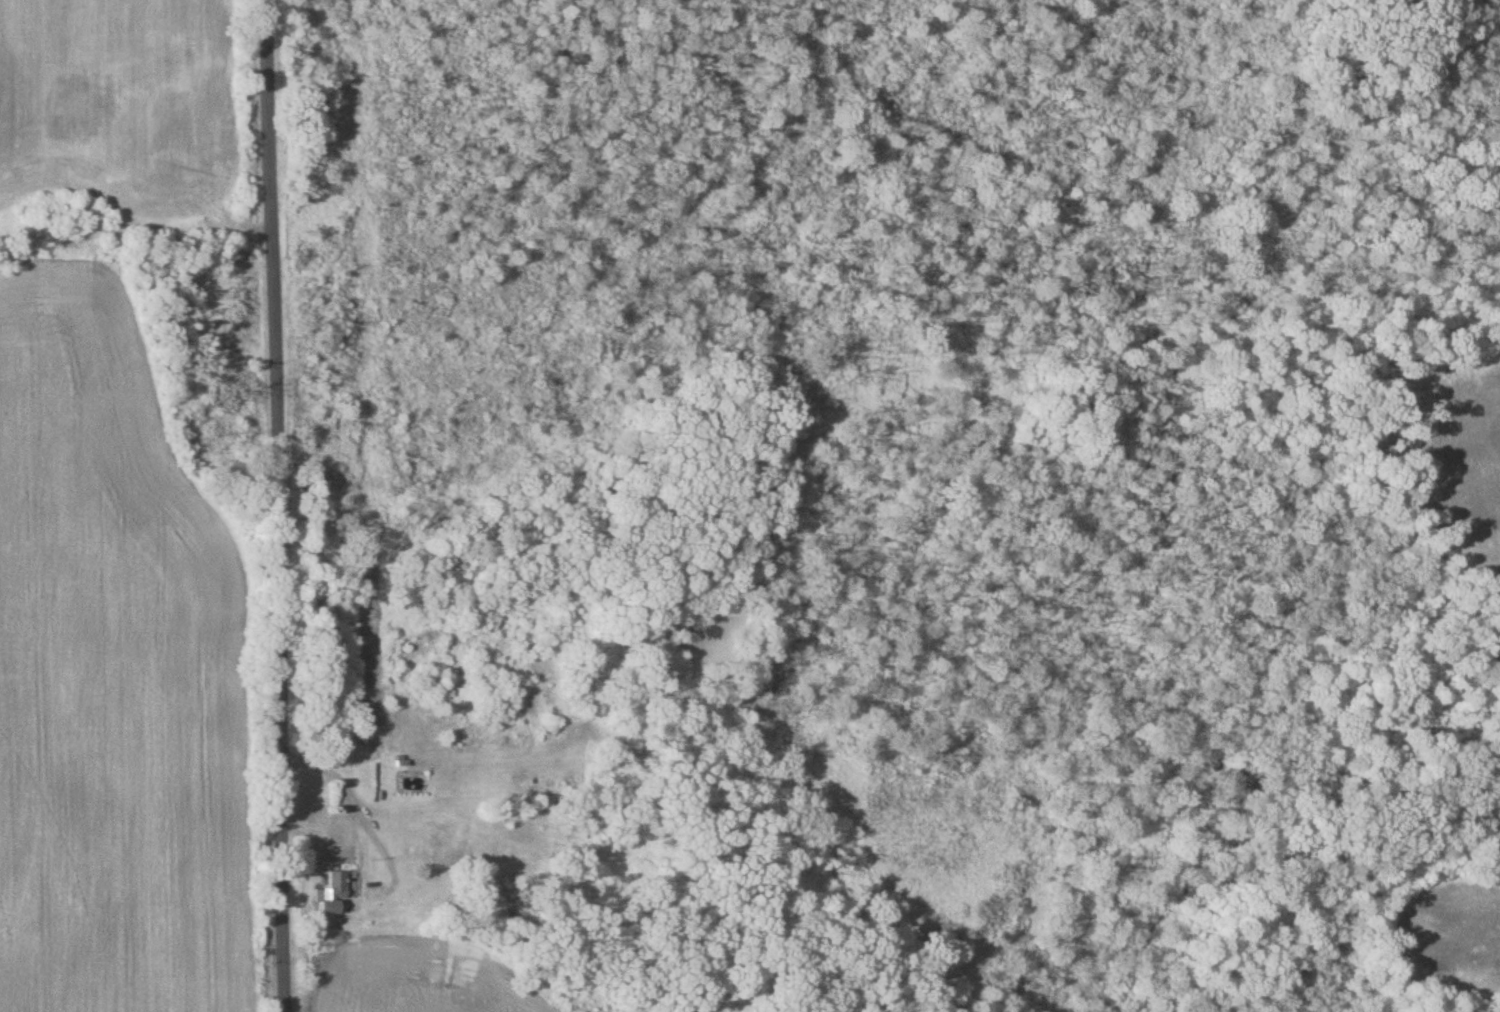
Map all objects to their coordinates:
road: (277, 505)
road: (358, 805)
building: (331, 895)

